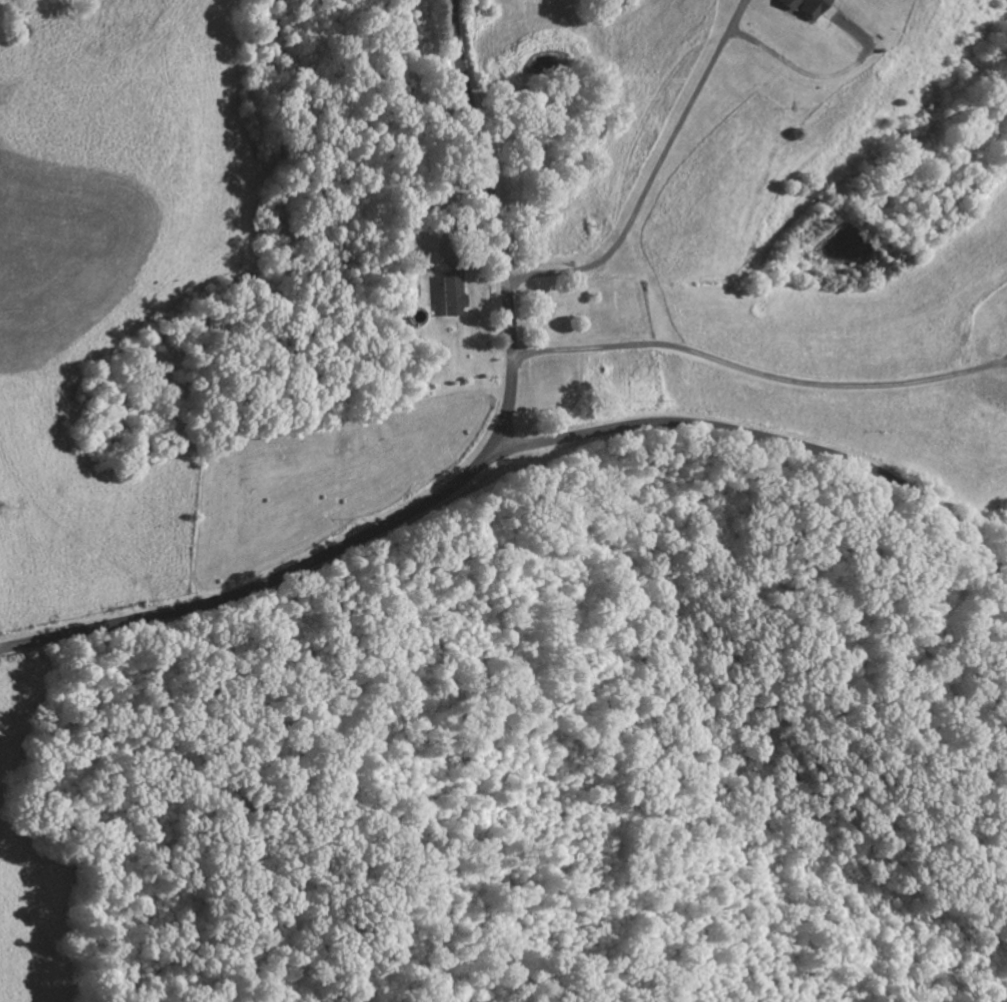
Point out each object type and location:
building: (807, 7)
building: (454, 298)
road: (767, 435)
road: (461, 474)

